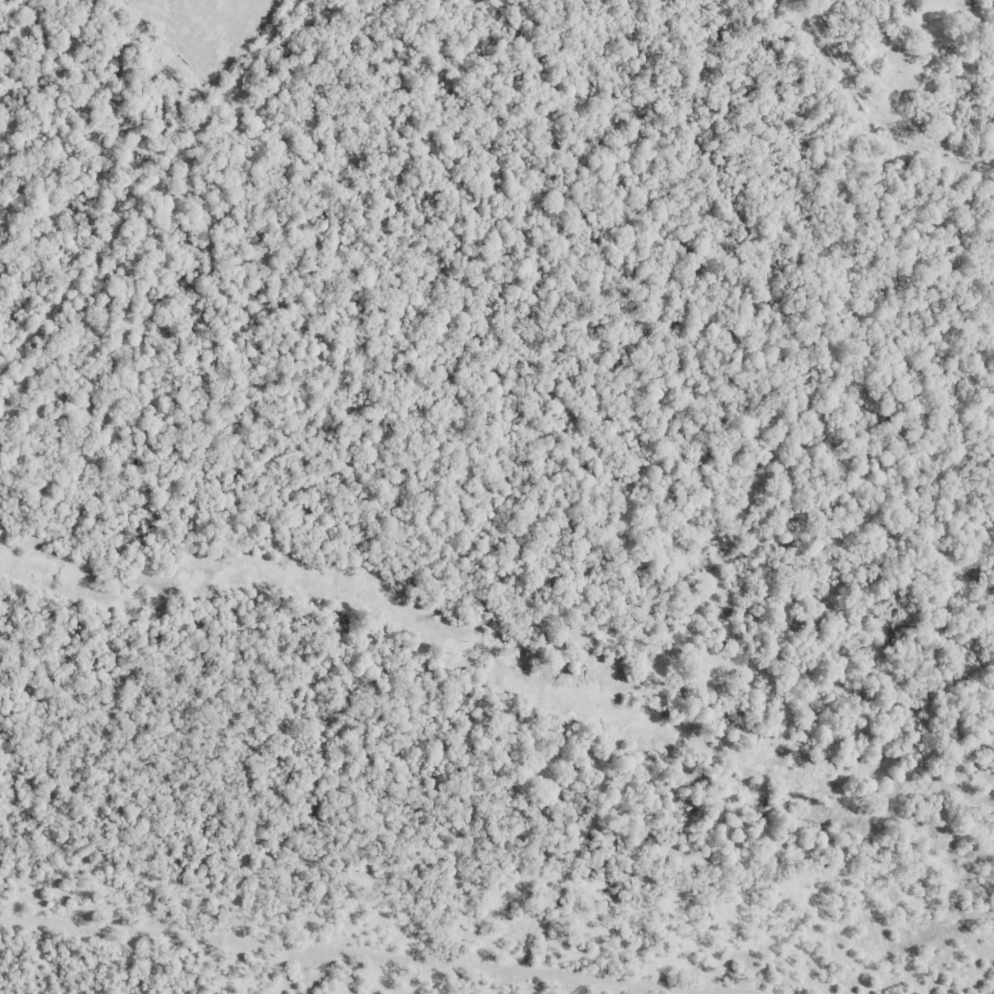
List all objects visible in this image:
road: (155, 979)

